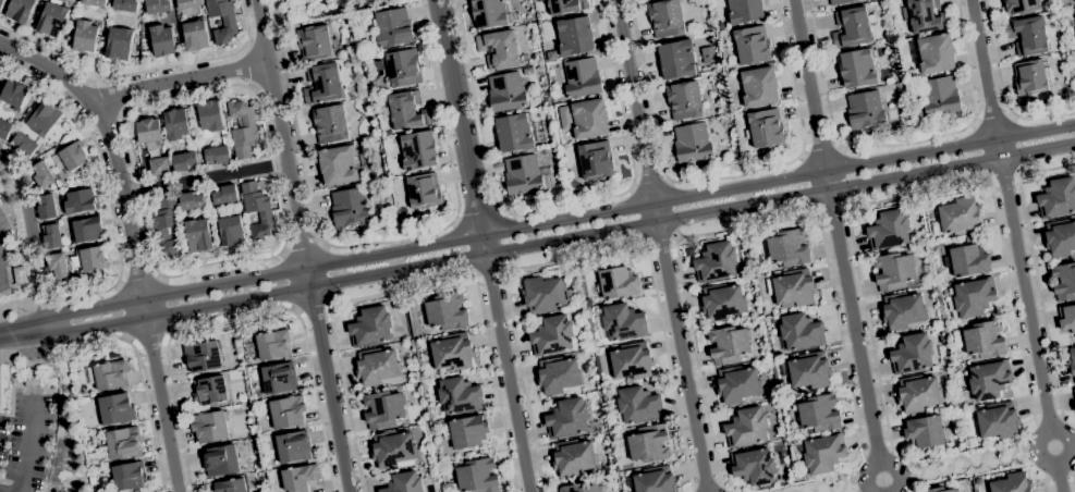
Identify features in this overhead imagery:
building: (1074, 1)
building: (94, 2)
building: (842, 2)
building: (1, 3)
building: (188, 3)
building: (125, 5)
building: (566, 5)
building: (157, 7)
building: (1021, 7)
building: (21, 10)
park: (330, 10)
building: (744, 11)
building: (1074, 11)
building: (491, 13)
building: (925, 16)
building: (665, 19)
building: (51, 20)
building: (222, 21)
road: (247, 24)
building: (392, 27)
building: (853, 27)
building: (195, 36)
building: (574, 36)
building: (1027, 36)
building: (85, 37)
building: (162, 40)
building: (315, 42)
building: (119, 44)
building: (752, 46)
building: (499, 49)
building: (708, 54)
building: (933, 54)
building: (551, 56)
building: (676, 60)
road: (968, 60)
road: (248, 66)
building: (857, 67)
building: (404, 69)
road: (115, 75)
building: (1031, 77)
road: (182, 78)
building: (582, 78)
building: (376, 83)
building: (322, 85)
road: (249, 86)
building: (758, 87)
road: (1001, 89)
building: (506, 93)
building: (14, 95)
building: (941, 97)
building: (684, 100)
building: (866, 110)
building: (405, 111)
building: (210, 116)
building: (45, 119)
building: (589, 119)
road: (992, 119)
building: (176, 124)
building: (330, 124)
road: (462, 126)
building: (242, 128)
building: (765, 128)
building: (4, 130)
building: (149, 131)
building: (513, 133)
road: (283, 135)
road: (838, 140)
building: (692, 143)
building: (24, 144)
building: (152, 146)
building: (418, 150)
road: (820, 151)
building: (217, 156)
building: (70, 158)
building: (596, 160)
building: (185, 161)
building: (159, 167)
building: (338, 167)
road: (1002, 173)
building: (41, 175)
building: (526, 175)
road: (722, 177)
road: (206, 180)
building: (573, 184)
road: (648, 185)
road: (917, 190)
building: (424, 192)
road: (107, 193)
building: (224, 195)
building: (1058, 198)
building: (81, 201)
building: (192, 201)
building: (927, 205)
building: (46, 207)
building: (350, 208)
road: (553, 208)
road: (832, 208)
building: (257, 210)
road: (477, 214)
building: (960, 217)
road: (745, 222)
road: (559, 223)
building: (167, 226)
building: (87, 230)
building: (889, 230)
building: (231, 231)
road: (34, 234)
building: (198, 235)
building: (51, 236)
road: (659, 238)
building: (1060, 238)
road: (133, 239)
road: (561, 239)
road: (377, 244)
road: (662, 245)
road: (839, 245)
road: (1015, 246)
road: (303, 247)
building: (789, 248)
parking lot: (3, 250)
road: (585, 250)
building: (91, 259)
building: (968, 259)
building: (716, 262)
building: (57, 266)
road: (1034, 267)
road: (0, 268)
building: (894, 271)
building: (19, 275)
building: (76, 279)
road: (138, 280)
road: (415, 282)
building: (1064, 282)
building: (618, 283)
building: (792, 288)
building: (545, 295)
building: (974, 297)
building: (722, 302)
road: (313, 307)
road: (16, 308)
road: (242, 309)
building: (903, 310)
building: (447, 312)
building: (1066, 318)
building: (771, 321)
building: (623, 322)
building: (370, 328)
road: (24, 332)
building: (802, 332)
building: (552, 336)
building: (984, 341)
building: (759, 343)
building: (273, 344)
building: (729, 345)
building: (452, 352)
building: (912, 355)
building: (204, 356)
building: (632, 361)
building: (1072, 361)
road: (30, 364)
building: (378, 368)
building: (809, 371)
road: (508, 372)
building: (558, 374)
building: (111, 376)
road: (142, 376)
building: (279, 379)
building: (989, 380)
building: (33, 381)
road: (328, 381)
building: (737, 384)
building: (210, 390)
building: (918, 393)
building: (1074, 393)
building: (456, 397)
building: (1074, 404)
building: (638, 406)
building: (115, 409)
building: (383, 409)
building: (288, 411)
building: (819, 414)
road: (1060, 417)
building: (567, 419)
building: (995, 421)
road: (1048, 421)
road: (1036, 422)
building: (210, 427)
building: (746, 428)
building: (468, 431)
building: (924, 432)
building: (124, 443)
building: (648, 443)
building: (972, 444)
parking lot: (21, 445)
building: (293, 447)
road: (28, 448)
building: (392, 448)
building: (822, 454)
building: (575, 457)
road: (957, 459)
building: (220, 460)
building: (754, 466)
building: (619, 469)
road: (1059, 475)
road: (1072, 475)
building: (129, 476)
building: (796, 476)
building: (477, 477)
building: (300, 478)
road: (1048, 479)
road: (1074, 479)
building: (655, 480)
building: (404, 483)
building: (1012, 483)
building: (228, 485)
road: (706, 485)
road: (821, 485)
road: (1047, 487)
building: (581, 488)
building: (939, 490)

